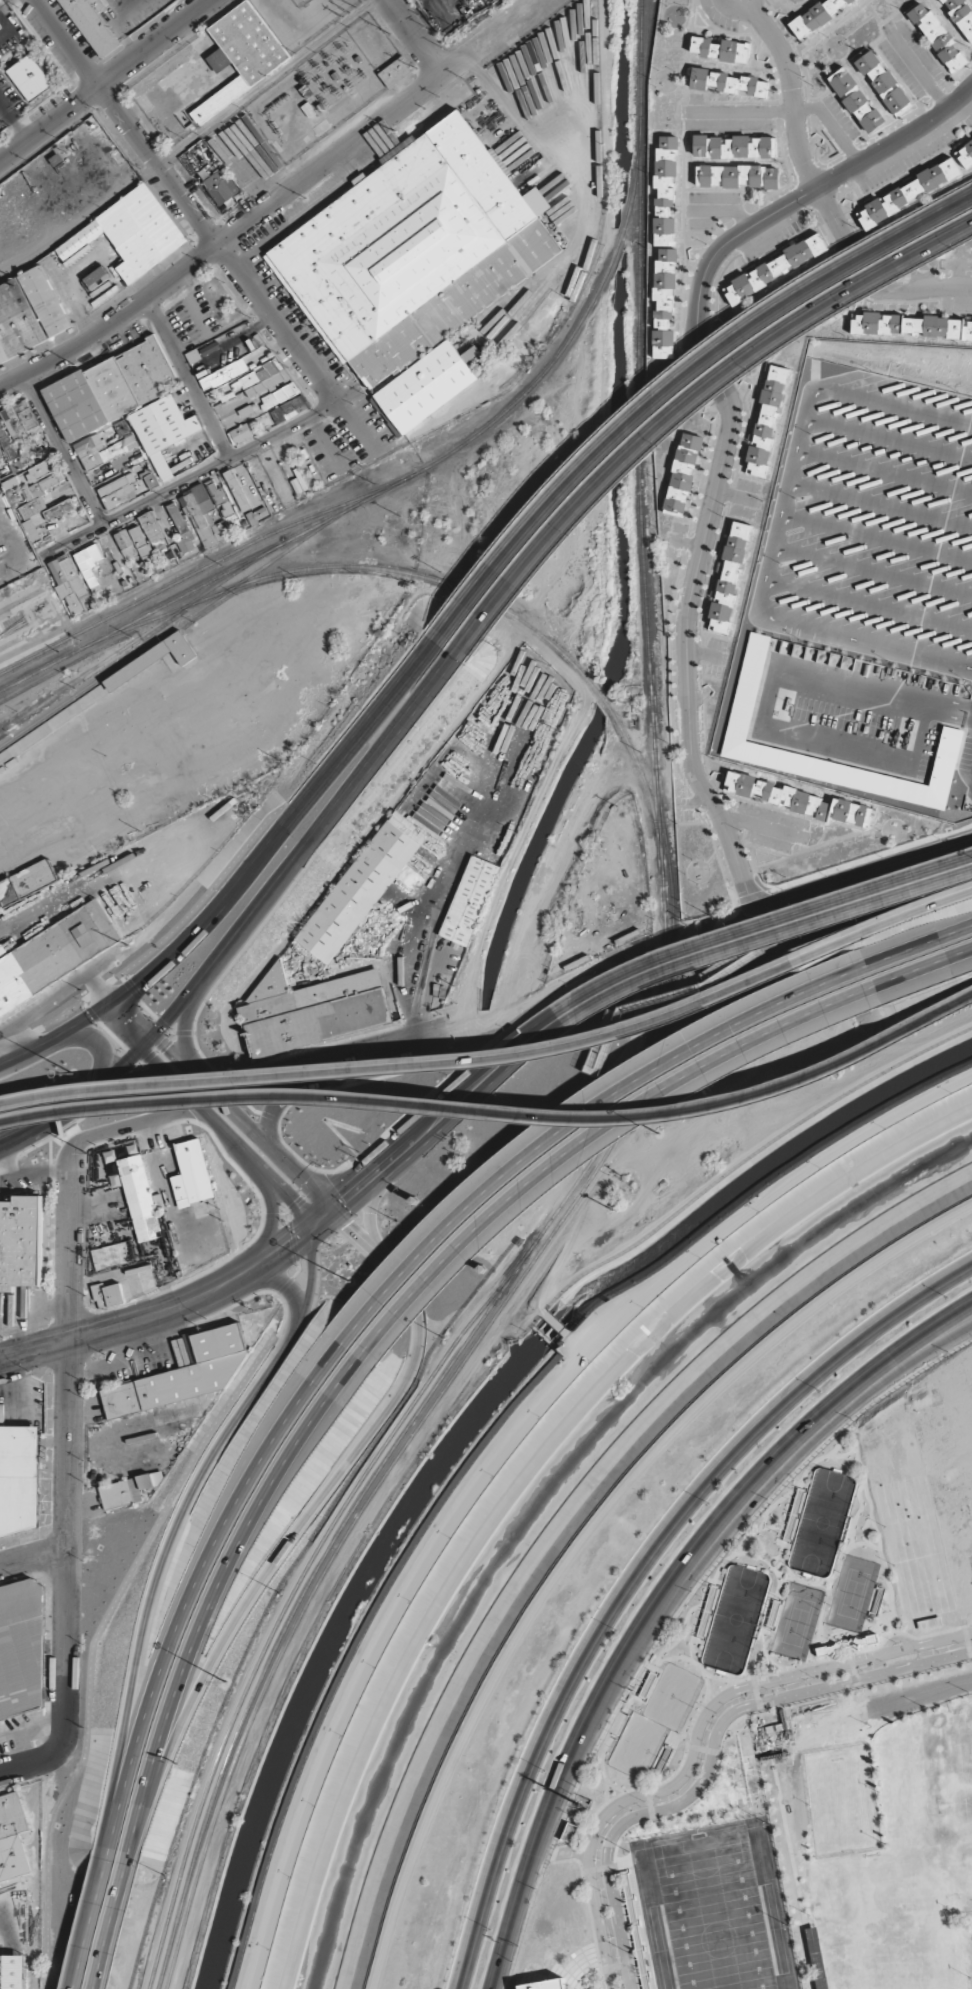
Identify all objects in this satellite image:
building: (815, 15)
building: (960, 15)
building: (92, 25)
road: (417, 36)
building: (937, 37)
building: (719, 49)
building: (240, 55)
building: (395, 72)
building: (29, 77)
road: (105, 80)
building: (882, 81)
building: (727, 82)
building: (855, 100)
road: (126, 123)
building: (733, 146)
building: (964, 154)
building: (738, 176)
building: (218, 189)
road: (818, 189)
building: (664, 190)
building: (908, 192)
road: (272, 203)
railway: (637, 218)
building: (131, 233)
building: (415, 250)
building: (779, 265)
building: (664, 302)
building: (28, 312)
building: (912, 325)
road: (296, 352)
building: (471, 353)
building: (223, 374)
road: (190, 378)
building: (261, 379)
road: (674, 382)
building: (423, 388)
building: (109, 389)
building: (279, 395)
building: (21, 405)
road: (684, 405)
building: (289, 408)
building: (11, 422)
building: (29, 422)
building: (766, 422)
road: (733, 426)
building: (163, 430)
building: (240, 434)
building: (6, 444)
building: (102, 449)
road: (64, 450)
railway: (455, 452)
building: (39, 471)
building: (683, 472)
building: (150, 480)
road: (188, 481)
building: (236, 490)
building: (118, 491)
building: (215, 491)
building: (37, 496)
building: (203, 498)
building: (59, 510)
building: (204, 523)
building: (150, 526)
building: (182, 529)
building: (31, 530)
building: (140, 541)
building: (125, 544)
railway: (199, 559)
building: (730, 570)
railway: (231, 571)
building: (69, 585)
railway: (18, 587)
railway: (156, 593)
railway: (21, 600)
railway: (508, 611)
railway: (28, 634)
railway: (131, 643)
building: (152, 659)
railway: (116, 667)
railway: (649, 690)
building: (435, 776)
building: (798, 800)
road: (278, 834)
road: (302, 844)
building: (27, 881)
building: (360, 886)
building: (468, 901)
road: (770, 912)
road: (879, 921)
road: (774, 933)
road: (913, 944)
building: (55, 954)
road: (918, 976)
building: (309, 1011)
road: (133, 1015)
road: (183, 1024)
road: (50, 1037)
road: (97, 1043)
road: (384, 1046)
road: (401, 1059)
road: (140, 1067)
road: (284, 1074)
road: (297, 1089)
road: (185, 1092)
road: (447, 1094)
road: (82, 1098)
road: (496, 1103)
road: (460, 1115)
road: (572, 1117)
road: (135, 1124)
road: (245, 1126)
road: (588, 1141)
building: (189, 1174)
building: (138, 1197)
road: (294, 1209)
road: (269, 1219)
road: (365, 1219)
road: (291, 1229)
building: (19, 1241)
road: (252, 1284)
road: (204, 1287)
road: (288, 1293)
building: (107, 1295)
road: (75, 1338)
road: (919, 1351)
building: (181, 1374)
railway: (454, 1375)
road: (67, 1449)
building: (18, 1485)
river: (545, 1489)
building: (128, 1490)
road: (315, 1501)
railway: (352, 1511)
road: (575, 1522)
park: (817, 1524)
road: (170, 1527)
road: (32, 1555)
road: (636, 1569)
road: (192, 1584)
road: (216, 1591)
park: (849, 1591)
road: (661, 1595)
park: (729, 1618)
park: (791, 1621)
road: (902, 1639)
building: (21, 1648)
road: (919, 1695)
park: (651, 1721)
road: (695, 1738)
road: (710, 1754)
park: (960, 1760)
road: (28, 1764)
park: (839, 1801)
park: (970, 1835)
building: (12, 1838)
road: (571, 1851)
park: (710, 1909)
road: (113, 1921)
park: (883, 1923)
road: (89, 1924)
building: (543, 1983)

